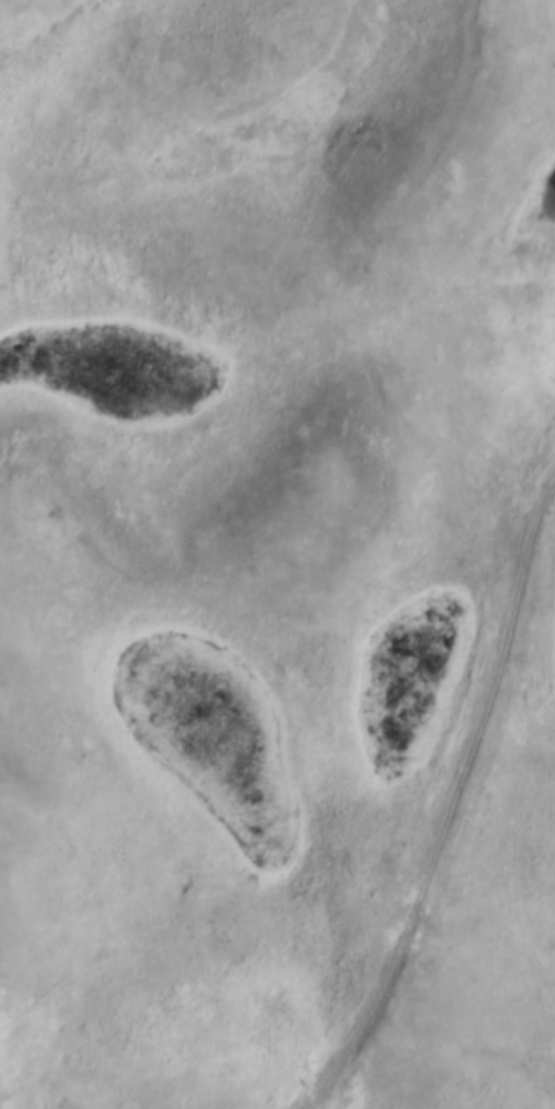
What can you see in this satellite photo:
road: (451, 788)

